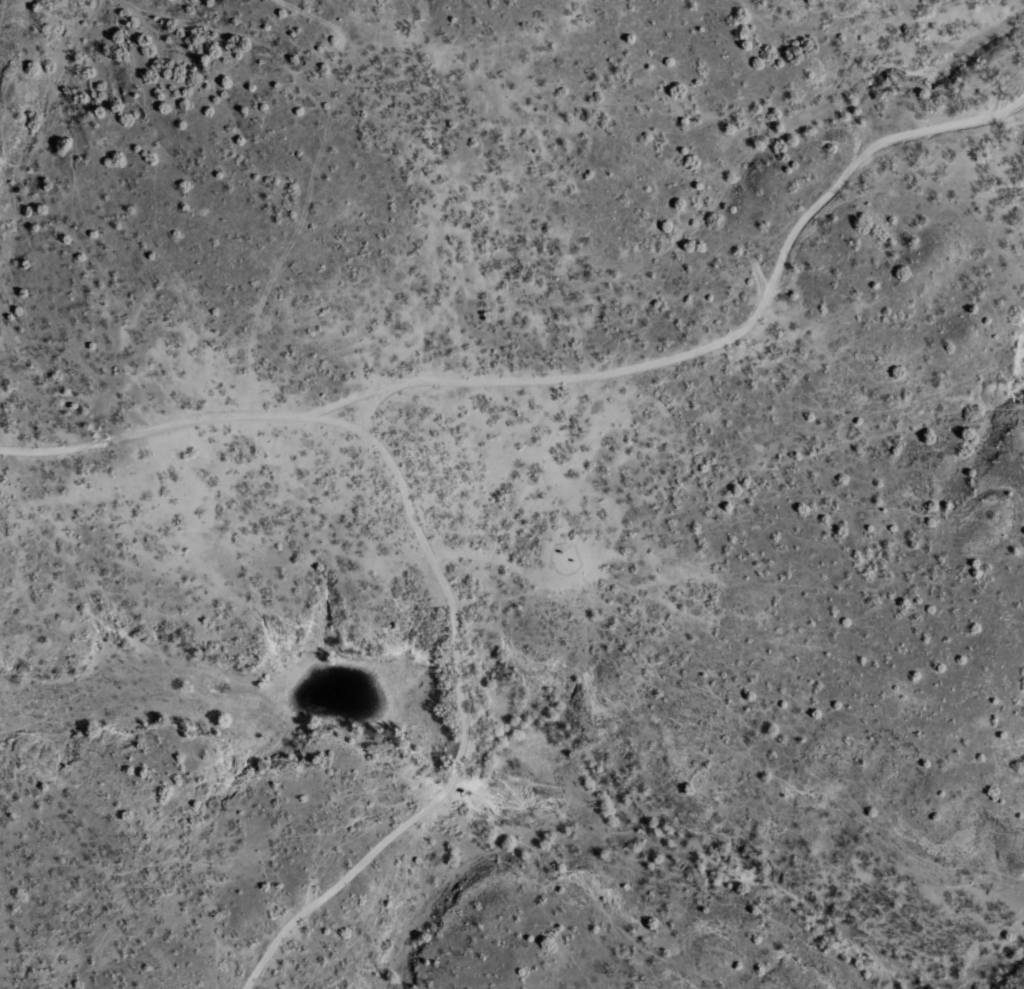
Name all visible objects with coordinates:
road: (568, 371)

